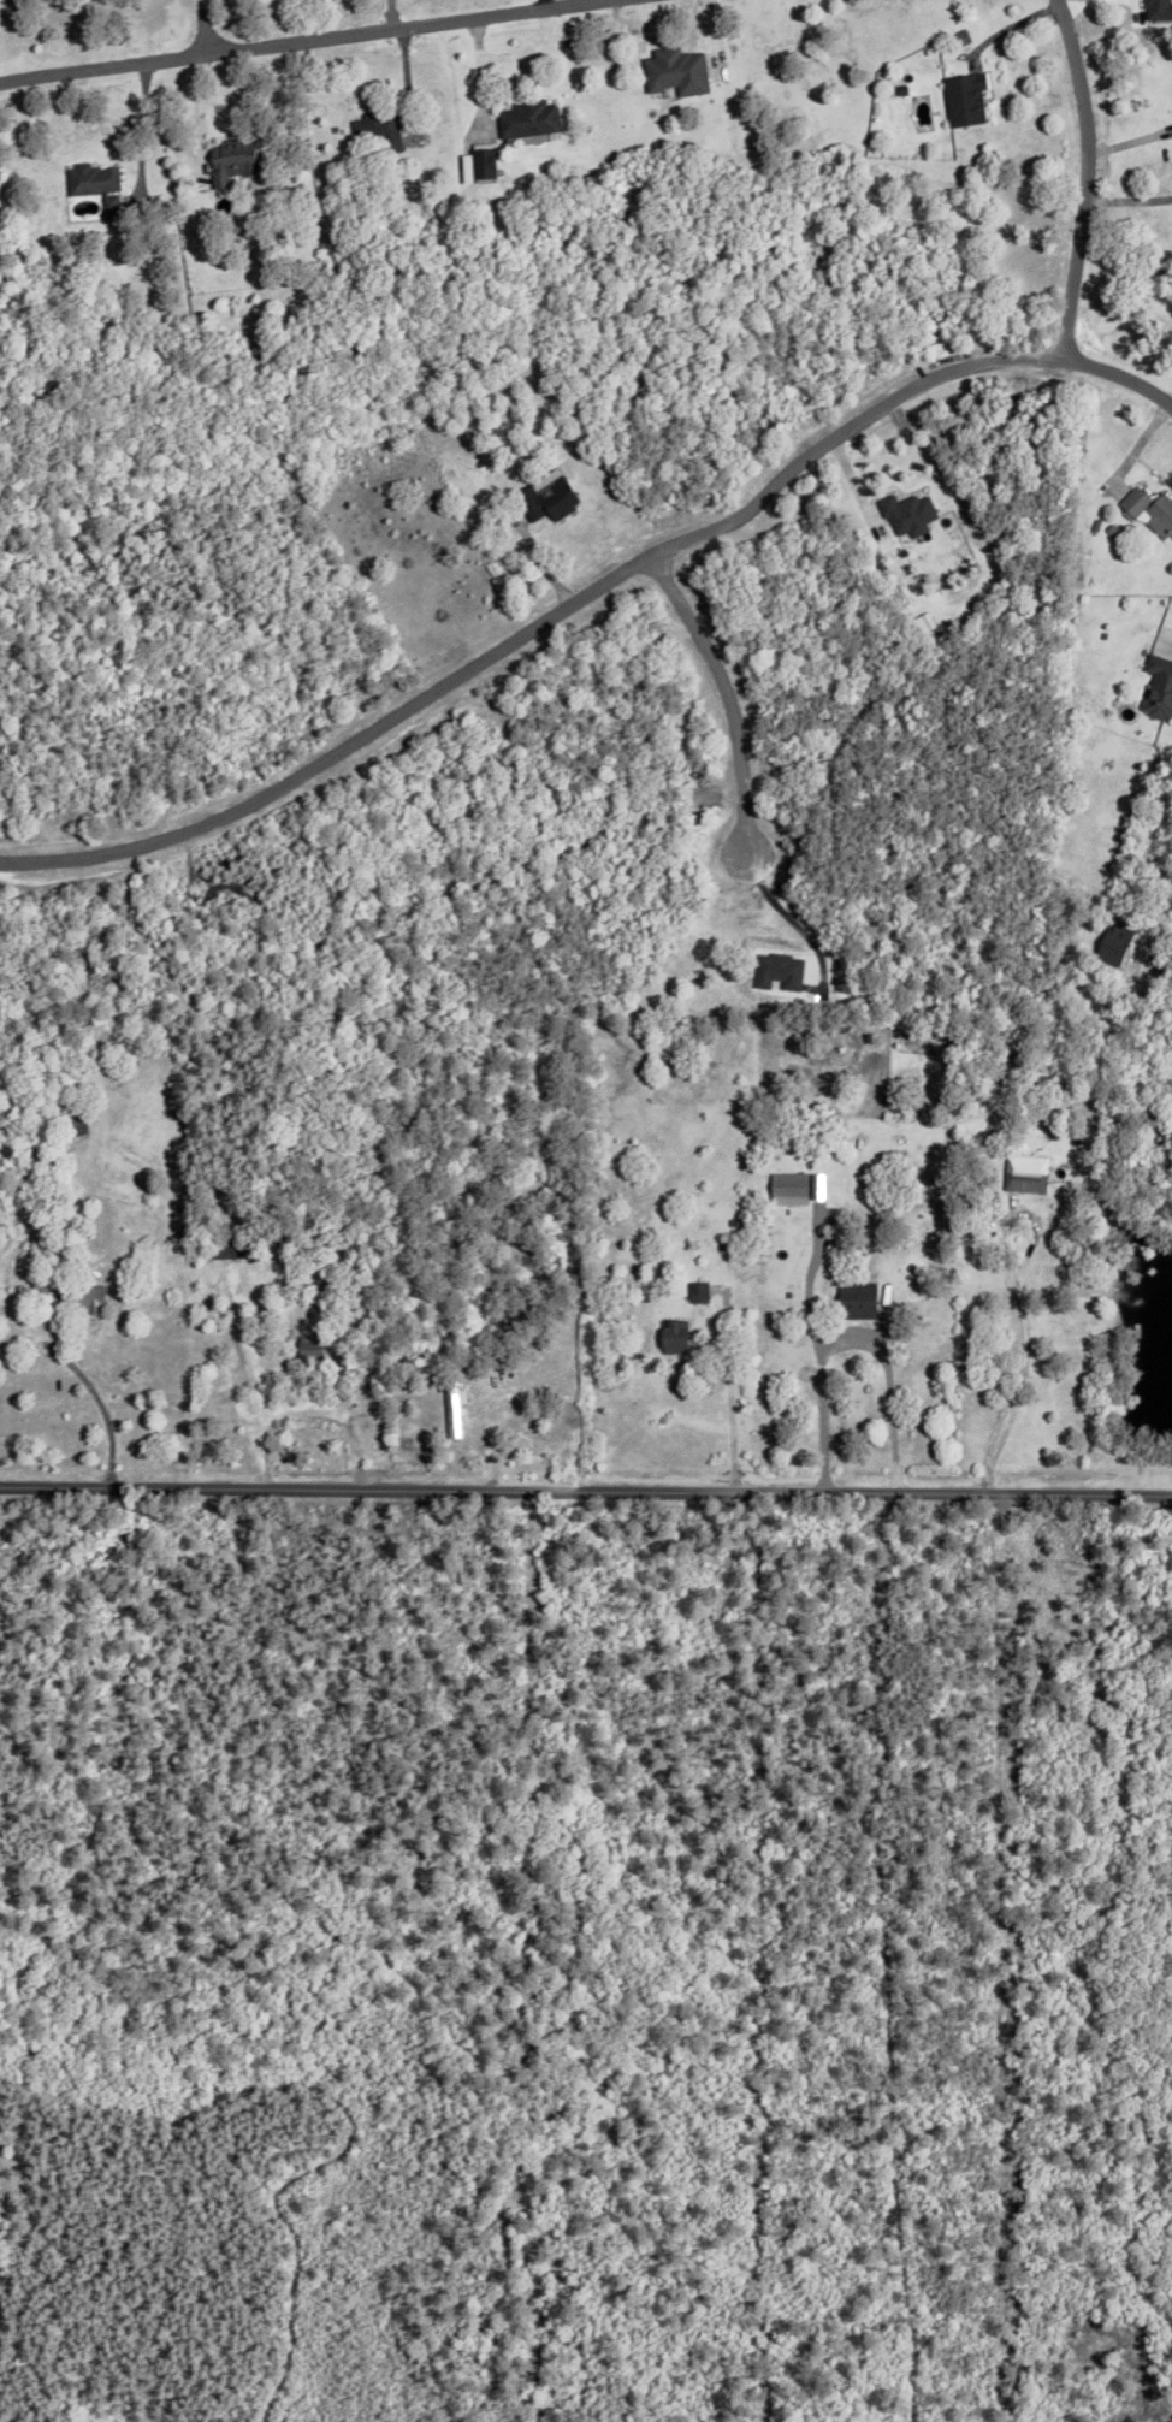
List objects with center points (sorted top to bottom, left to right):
building: (1159, 12)
road: (390, 14)
road: (297, 41)
building: (681, 72)
building: (899, 88)
building: (961, 97)
building: (526, 116)
road: (142, 128)
building: (375, 129)
building: (230, 159)
building: (484, 167)
road: (1081, 176)
building: (89, 177)
road: (1125, 196)
road: (1114, 384)
building: (552, 498)
building: (1149, 509)
building: (912, 515)
building: (1109, 528)
road: (537, 626)
building: (1158, 686)
road: (728, 698)
building: (868, 1035)
building: (1006, 1067)
building: (892, 1108)
building: (801, 1162)
building: (1024, 1173)
building: (485, 1182)
building: (794, 1189)
road: (20, 1230)
building: (45, 1244)
building: (726, 1244)
building: (231, 1249)
building: (26, 1254)
building: (46, 1278)
building: (321, 1284)
building: (697, 1292)
building: (83, 1301)
building: (854, 1301)
building: (673, 1337)
building: (308, 1350)
road: (1022, 1357)
road: (79, 1374)
road: (254, 1380)
road: (821, 1388)
road: (730, 1392)
building: (451, 1404)
road: (889, 1407)
road: (586, 1493)

